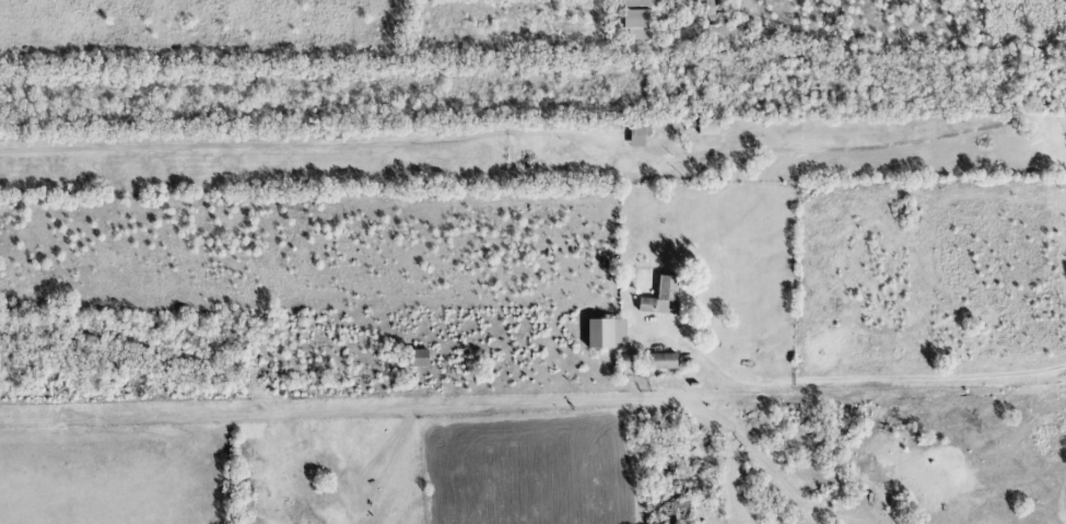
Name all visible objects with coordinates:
building: (635, 20)
building: (707, 128)
building: (639, 133)
building: (660, 298)
building: (606, 334)
building: (418, 359)
building: (663, 362)
road: (878, 379)

